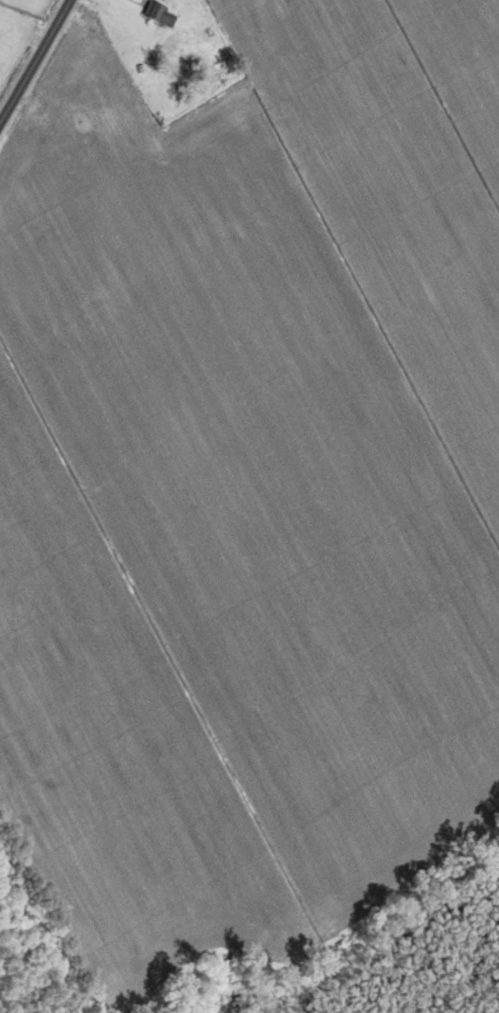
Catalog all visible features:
road: (30, 56)
road: (1, 289)

